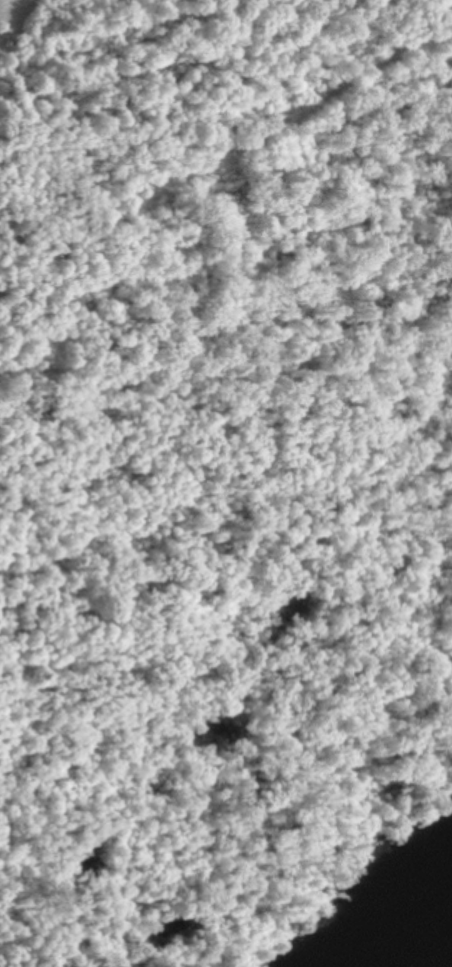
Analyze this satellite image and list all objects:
river: (404, 925)

